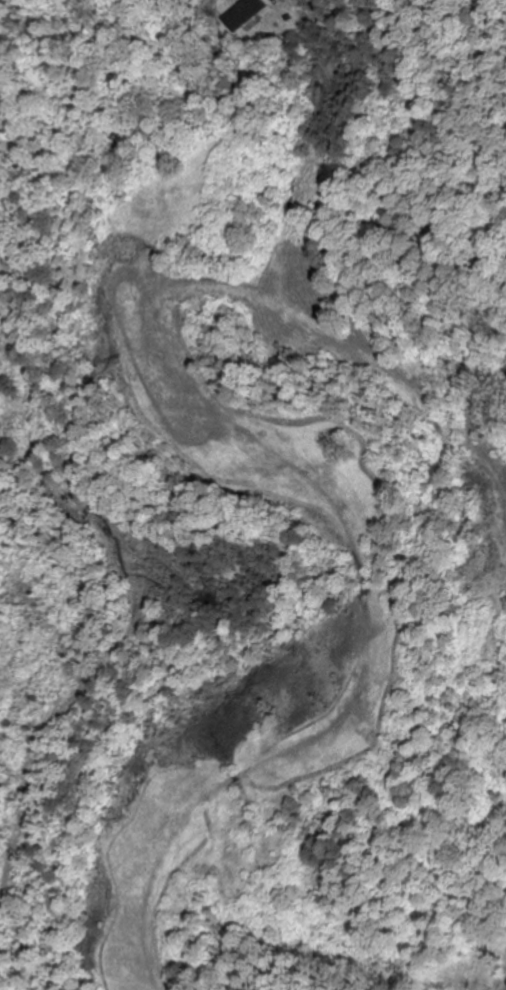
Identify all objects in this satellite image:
building: (244, 14)

